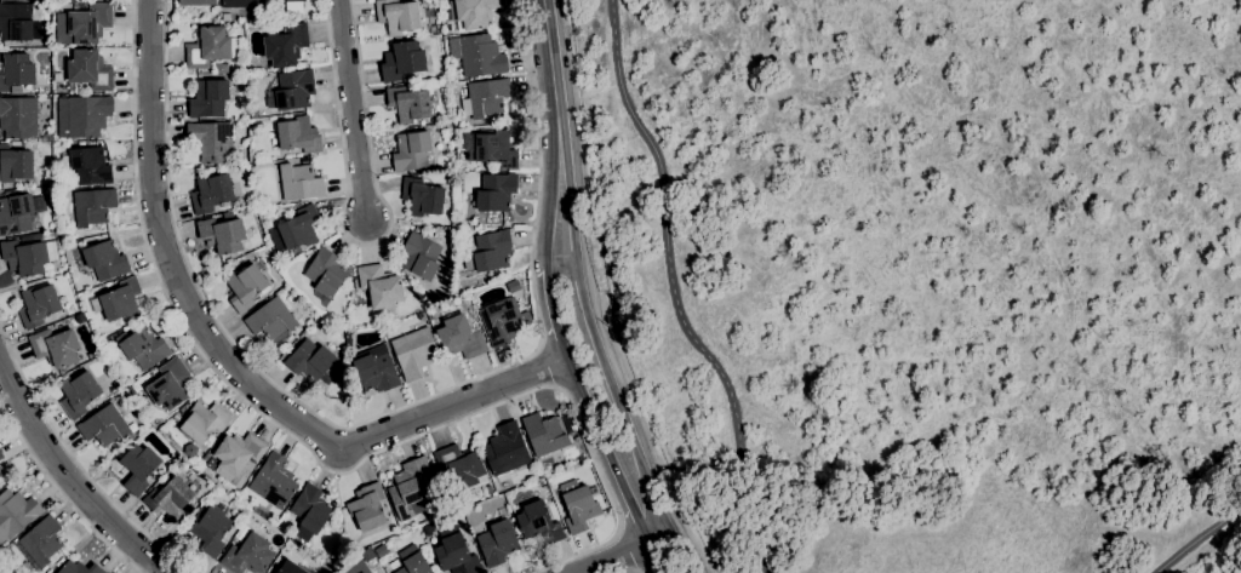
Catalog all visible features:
building: (294, 0)
building: (196, 2)
building: (240, 2)
building: (473, 12)
building: (398, 16)
building: (87, 21)
building: (15, 22)
building: (285, 45)
building: (208, 46)
building: (476, 55)
building: (401, 61)
road: (548, 64)
building: (221, 68)
building: (87, 69)
building: (16, 70)
building: (406, 78)
building: (15, 90)
building: (291, 90)
building: (208, 98)
building: (485, 98)
building: (408, 103)
road: (351, 110)
building: (87, 114)
building: (18, 116)
building: (44, 118)
building: (298, 134)
building: (212, 141)
building: (490, 148)
building: (411, 150)
building: (15, 164)
building: (90, 165)
building: (298, 182)
building: (211, 191)
building: (494, 191)
building: (422, 196)
road: (548, 200)
building: (92, 206)
building: (18, 212)
building: (297, 230)
building: (222, 233)
road: (367, 242)
building: (488, 251)
building: (28, 256)
building: (419, 256)
building: (104, 259)
building: (325, 273)
park: (928, 273)
building: (379, 285)
building: (245, 287)
road: (670, 291)
building: (120, 299)
building: (38, 305)
road: (548, 316)
building: (271, 321)
building: (502, 321)
building: (459, 337)
building: (55, 346)
building: (142, 346)
building: (413, 353)
building: (311, 360)
road: (595, 360)
road: (228, 361)
road: (547, 363)
building: (374, 368)
road: (570, 379)
building: (167, 385)
building: (79, 394)
road: (372, 417)
building: (204, 422)
building: (103, 425)
building: (543, 434)
building: (505, 448)
building: (1, 454)
building: (238, 457)
road: (314, 457)
building: (204, 458)
building: (211, 463)
road: (78, 464)
building: (462, 466)
building: (138, 468)
road: (608, 470)
building: (0, 472)
road: (72, 480)
building: (274, 481)
building: (1, 482)
building: (407, 486)
road: (63, 494)
building: (168, 498)
building: (578, 506)
building: (367, 508)
building: (309, 511)
building: (15, 512)
building: (538, 522)
building: (210, 529)
road: (1196, 535)
building: (41, 540)
building: (497, 542)
building: (381, 550)
road: (623, 551)
road: (627, 551)
building: (247, 555)
building: (456, 556)
road: (652, 557)
building: (412, 561)
building: (293, 566)
building: (79, 568)
road: (630, 572)

